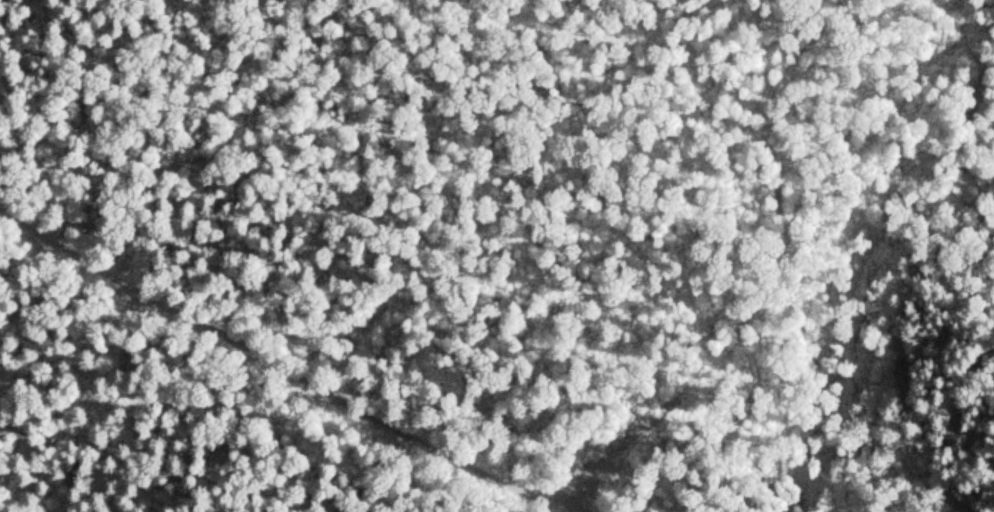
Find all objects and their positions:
road: (264, 347)

